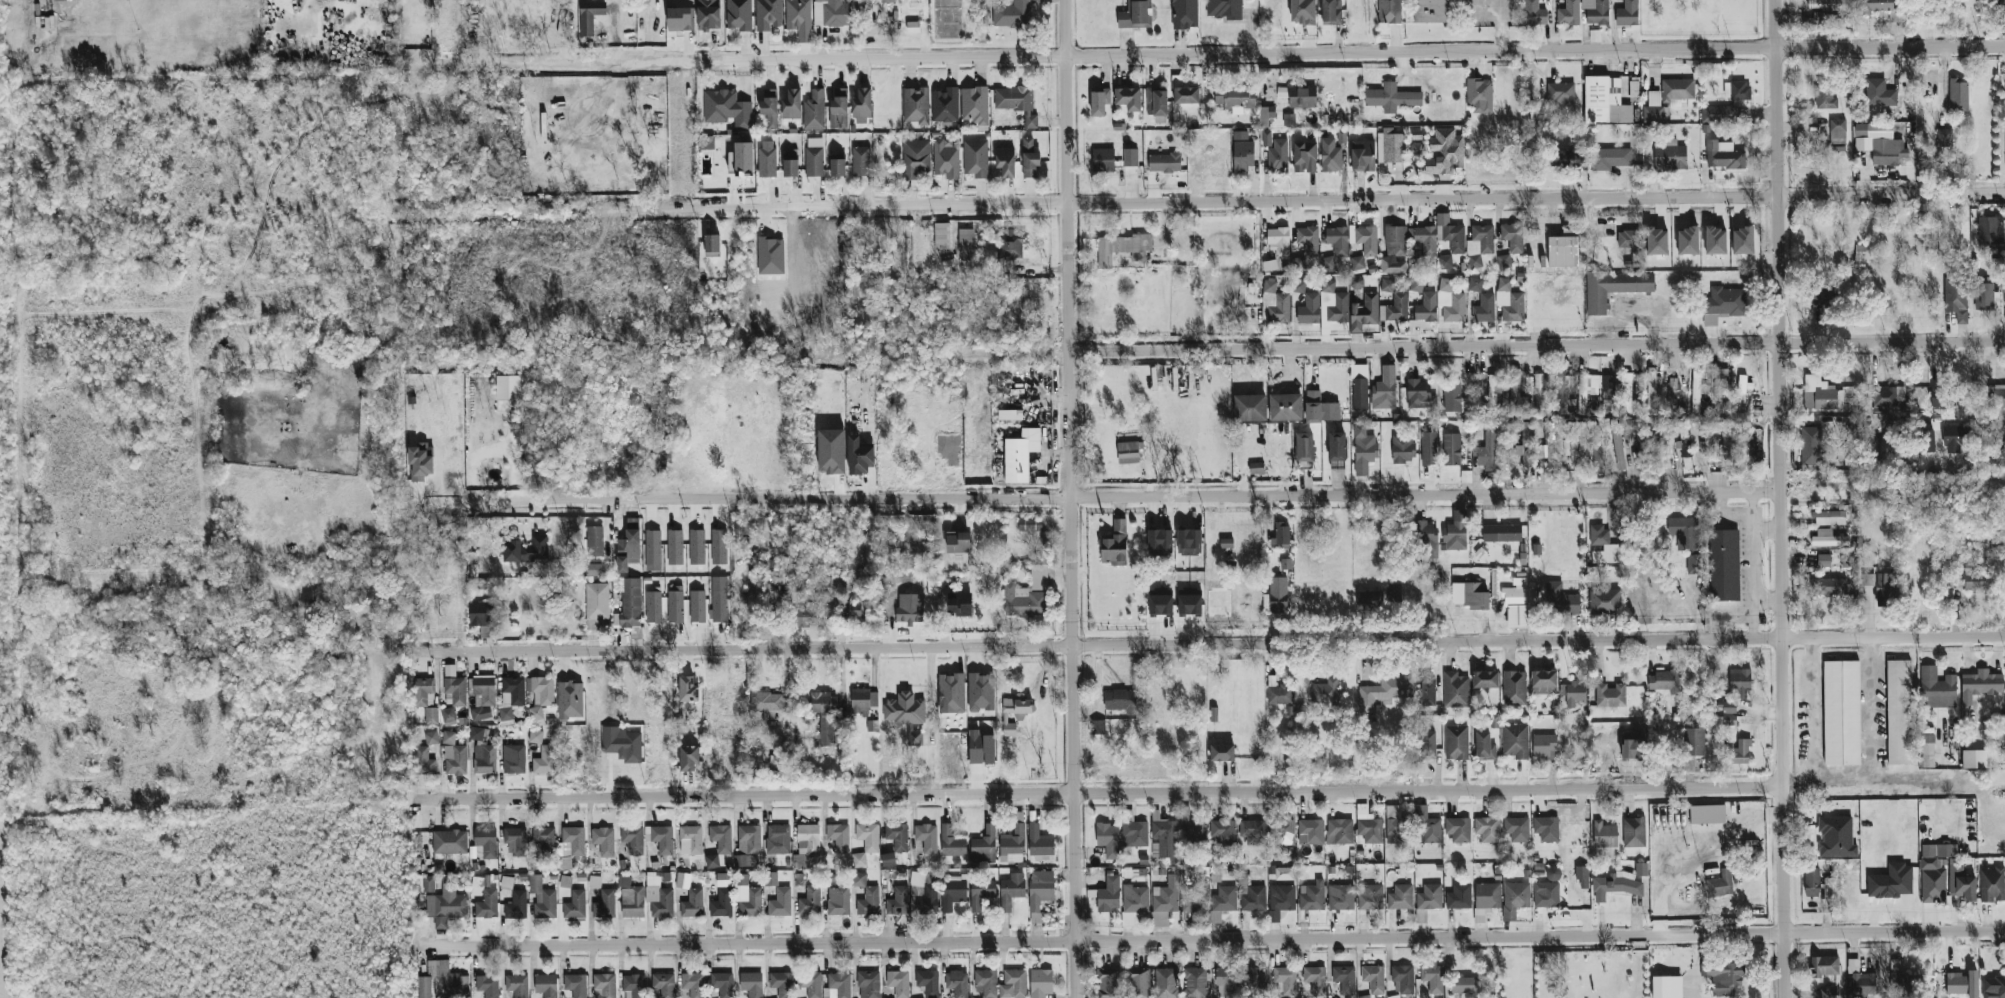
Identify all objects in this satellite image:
building: (887, 1)
building: (1824, 4)
road: (1500, 5)
building: (1225, 9)
building: (1430, 11)
road: (1482, 11)
building: (1596, 11)
building: (1302, 12)
building: (1331, 12)
building: (1389, 12)
building: (2002, 12)
building: (835, 13)
building: (1533, 13)
building: (1013, 14)
building: (1184, 14)
building: (1568, 14)
building: (1627, 14)
building: (738, 15)
building: (768, 15)
building: (1135, 15)
building: (589, 16)
building: (798, 18)
building: (680, 19)
building: (1817, 19)
road: (1502, 31)
road: (1551, 34)
road: (1285, 54)
building: (2004, 85)
building: (1737, 91)
building: (1560, 93)
building: (1879, 93)
building: (1185, 95)
building: (1479, 95)
building: (1299, 96)
building: (1824, 96)
building: (1958, 96)
building: (1235, 98)
building: (1391, 98)
building: (1667, 98)
building: (1128, 99)
building: (1099, 101)
building: (1605, 101)
building: (839, 102)
building: (1156, 102)
building: (1016, 103)
building: (791, 104)
building: (862, 105)
building: (974, 105)
building: (915, 106)
building: (945, 106)
building: (769, 108)
building: (727, 109)
building: (814, 111)
building: (1263, 114)
building: (1721, 114)
building: (1288, 120)
building: (842, 122)
building: (1837, 131)
building: (1340, 136)
building: (1944, 137)
building: (1530, 138)
building: (1879, 143)
building: (1242, 152)
building: (1444, 152)
building: (1362, 155)
building: (1723, 155)
building: (1330, 156)
building: (1563, 156)
building: (1670, 156)
building: (814, 157)
building: (1304, 157)
building: (741, 158)
building: (915, 158)
building: (975, 158)
building: (1029, 158)
building: (1130, 158)
building: (1277, 158)
building: (1610, 158)
building: (767, 159)
building: (945, 159)
building: (1103, 160)
building: (860, 161)
building: (1581, 161)
building: (1005, 162)
building: (790, 163)
building: (1164, 163)
building: (837, 168)
road: (1295, 201)
building: (1990, 232)
building: (1451, 234)
building: (941, 236)
building: (1512, 237)
building: (1629, 239)
building: (1308, 240)
building: (1337, 240)
building: (1366, 240)
building: (1426, 240)
building: (1742, 240)
building: (1278, 241)
building: (1656, 241)
building: (1687, 241)
building: (1715, 241)
building: (966, 242)
road: (1780, 244)
building: (1479, 245)
building: (711, 246)
building: (1122, 248)
building: (1394, 250)
building: (1563, 250)
building: (770, 256)
building: (1859, 257)
building: (1503, 261)
building: (1444, 262)
building: (1298, 263)
building: (1327, 263)
building: (1356, 263)
building: (1356, 282)
building: (1416, 284)
building: (1386, 285)
building: (1475, 285)
building: (857, 286)
building: (1327, 286)
building: (1298, 287)
building: (1613, 288)
building: (1983, 296)
building: (1822, 298)
building: (1955, 299)
building: (1996, 300)
building: (1509, 301)
building: (1450, 302)
building: (1274, 304)
building: (1723, 305)
building: (1397, 308)
building: (1426, 308)
building: (1338, 309)
building: (1484, 309)
building: (1309, 310)
building: (1364, 312)
road: (1538, 346)
building: (1697, 384)
building: (507, 387)
building: (1384, 389)
building: (1610, 389)
building: (1719, 389)
building: (1586, 390)
building: (1651, 390)
building: (1539, 392)
building: (1561, 392)
building: (1672, 392)
building: (1740, 392)
building: (1626, 393)
building: (1359, 394)
building: (1818, 394)
building: (1419, 395)
building: (1491, 395)
building: (1451, 396)
building: (1516, 396)
building: (1887, 396)
building: (1996, 396)
building: (1942, 397)
building: (1285, 407)
building: (1250, 408)
building: (1320, 409)
building: (1009, 415)
building: (1957, 436)
building: (1525, 445)
building: (1548, 445)
building: (1706, 445)
building: (1810, 446)
building: (1304, 447)
building: (1727, 447)
building: (1570, 448)
building: (1618, 448)
building: (1336, 449)
building: (1402, 449)
building: (1428, 449)
building: (1451, 449)
building: (1685, 449)
building: (1746, 449)
building: (1363, 450)
building: (1642, 450)
building: (831, 451)
building: (1486, 451)
building: (1595, 451)
building: (1127, 453)
building: (1020, 455)
building: (859, 456)
road: (1057, 457)
building: (420, 462)
building: (1256, 468)
road: (1073, 499)
road: (1132, 500)
road: (1751, 503)
building: (1828, 518)
building: (1029, 524)
road: (1767, 530)
building: (1456, 532)
building: (1502, 533)
building: (1684, 533)
building: (1280, 535)
building: (1822, 537)
building: (1427, 540)
building: (595, 541)
building: (957, 542)
building: (1159, 542)
building: (1189, 542)
building: (1226, 543)
building: (1114, 545)
building: (1602, 545)
road: (1751, 545)
building: (628, 547)
building: (675, 547)
building: (697, 547)
building: (719, 547)
building: (652, 548)
building: (526, 550)
building: (1823, 561)
building: (1847, 561)
building: (1286, 564)
building: (1694, 564)
building: (1724, 565)
building: (596, 571)
building: (782, 578)
building: (1966, 579)
building: (1828, 587)
building: (1884, 589)
building: (1474, 595)
building: (1027, 596)
building: (1380, 598)
road: (1768, 598)
building: (1560, 600)
building: (629, 602)
building: (1604, 602)
building: (1189, 603)
building: (959, 604)
building: (1516, 604)
building: (596, 605)
building: (1160, 605)
building: (697, 606)
building: (719, 606)
building: (653, 607)
building: (675, 607)
building: (909, 608)
building: (480, 614)
building: (804, 615)
road: (1719, 615)
road: (1784, 636)
road: (1209, 645)
building: (449, 671)
building: (1485, 680)
building: (1663, 681)
building: (1543, 682)
building: (1739, 683)
building: (1980, 685)
building: (1514, 688)
building: (484, 689)
building: (1937, 689)
building: (688, 690)
building: (1455, 690)
building: (542, 691)
building: (1386, 691)
building: (423, 692)
building: (454, 692)
building: (981, 692)
building: (1324, 692)
building: (1427, 692)
building: (1572, 693)
building: (1279, 695)
building: (1610, 696)
building: (511, 697)
building: (570, 700)
building: (1119, 700)
building: (863, 701)
building: (769, 704)
building: (1726, 707)
road: (1869, 710)
road: (1811, 711)
building: (1014, 712)
building: (1898, 712)
building: (535, 713)
building: (1841, 713)
building: (447, 714)
building: (480, 714)
building: (906, 714)
building: (431, 716)
building: (824, 718)
building: (1729, 720)
building: (1098, 728)
building: (478, 734)
building: (535, 737)
building: (431, 738)
building: (1515, 741)
building: (1456, 743)
building: (623, 745)
building: (1428, 745)
building: (1544, 746)
building: (1484, 747)
building: (1692, 747)
building: (1221, 751)
building: (1927, 751)
building: (1740, 753)
building: (453, 755)
building: (688, 758)
building: (484, 759)
building: (513, 759)
building: (1979, 759)
building: (544, 760)
building: (423, 762)
road: (1887, 782)
road: (1106, 792)
building: (1707, 815)
building: (1368, 825)
building: (1397, 826)
building: (1426, 827)
building: (1487, 829)
building: (1516, 829)
building: (1546, 829)
building: (1458, 830)
building: (1133, 831)
building: (1194, 831)
building: (1223, 832)
building: (1252, 832)
building: (1282, 832)
building: (1310, 832)
building: (1340, 832)
building: (1633, 832)
building: (1604, 835)
building: (897, 836)
building: (838, 837)
building: (868, 837)
building: (660, 838)
building: (692, 838)
building: (721, 838)
building: (750, 838)
building: (926, 838)
building: (1164, 838)
building: (1836, 838)
building: (633, 839)
building: (777, 839)
building: (1107, 839)
building: (545, 840)
building: (486, 841)
building: (515, 841)
building: (603, 841)
building: (449, 842)
building: (573, 842)
building: (951, 843)
building: (1039, 844)
building: (806, 845)
building: (1012, 845)
building: (983, 847)
building: (742, 848)
road: (1786, 857)
building: (858, 860)
building: (888, 860)
building: (711, 861)
building: (744, 861)
building: (1640, 870)
building: (1934, 871)
building: (1582, 876)
building: (770, 879)
building: (859, 879)
building: (682, 880)
building: (723, 880)
building: (1812, 881)
building: (594, 882)
building: (1891, 882)
building: (1960, 883)
building: (428, 884)
building: (1720, 884)
building: (1992, 885)
building: (1615, 886)
building: (1040, 889)
building: (1011, 890)
building: (952, 893)
building: (980, 894)
building: (922, 895)
building: (1109, 895)
building: (1546, 895)
building: (1166, 896)
building: (658, 897)
building: (746, 897)
building: (1340, 897)
building: (1370, 897)
building: (1400, 897)
building: (1429, 897)
building: (1459, 897)
building: (1311, 898)
building: (542, 899)
building: (631, 899)
building: (1135, 899)
building: (1193, 899)
building: (1253, 899)
building: (1515, 899)
building: (1485, 900)
building: (838, 901)
building: (1280, 901)
building: (809, 902)
building: (868, 902)
building: (898, 902)
building: (1222, 902)
building: (780, 903)
building: (692, 904)
building: (721, 904)
building: (487, 905)
building: (575, 905)
building: (604, 905)
building: (446, 906)
building: (516, 906)
building: (1420, 916)
building: (1036, 918)
road: (1220, 936)
road: (1787, 965)
building: (1824, 966)
building: (1903, 974)
building: (1255, 976)
building: (1723, 977)
building: (1403, 978)
building: (1432, 978)
building: (1344, 979)
building: (1373, 979)
building: (1286, 980)
building: (1315, 980)
building: (1860, 980)
building: (447, 981)
building: (1227, 981)
building: (898, 983)
building: (928, 983)
building: (957, 983)
building: (986, 983)
building: (1109, 983)
building: (1138, 983)
building: (1166, 983)
building: (1195, 983)
building: (693, 984)
building: (722, 984)
building: (751, 984)
building: (781, 984)
building: (810, 984)
building: (868, 984)
building: (1013, 984)
building: (1040, 984)
building: (1962, 984)
building: (546, 985)
building: (575, 985)
building: (663, 985)
building: (1464, 985)
building: (487, 986)
building: (517, 986)
building: (604, 986)
building: (633, 986)
building: (837, 986)
building: (424, 987)
building: (1666, 987)
building: (1993, 987)
building: (1827, 993)

